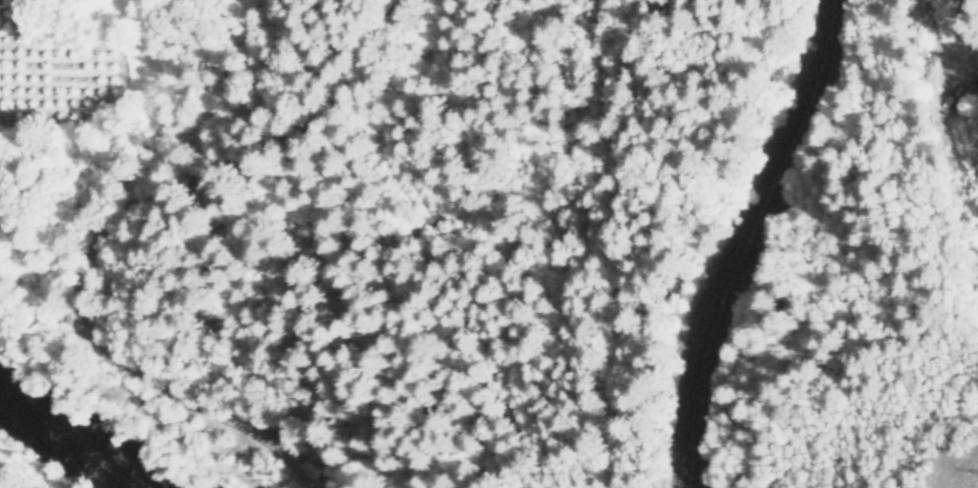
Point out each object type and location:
road: (171, 199)
road: (743, 240)
river: (79, 439)

